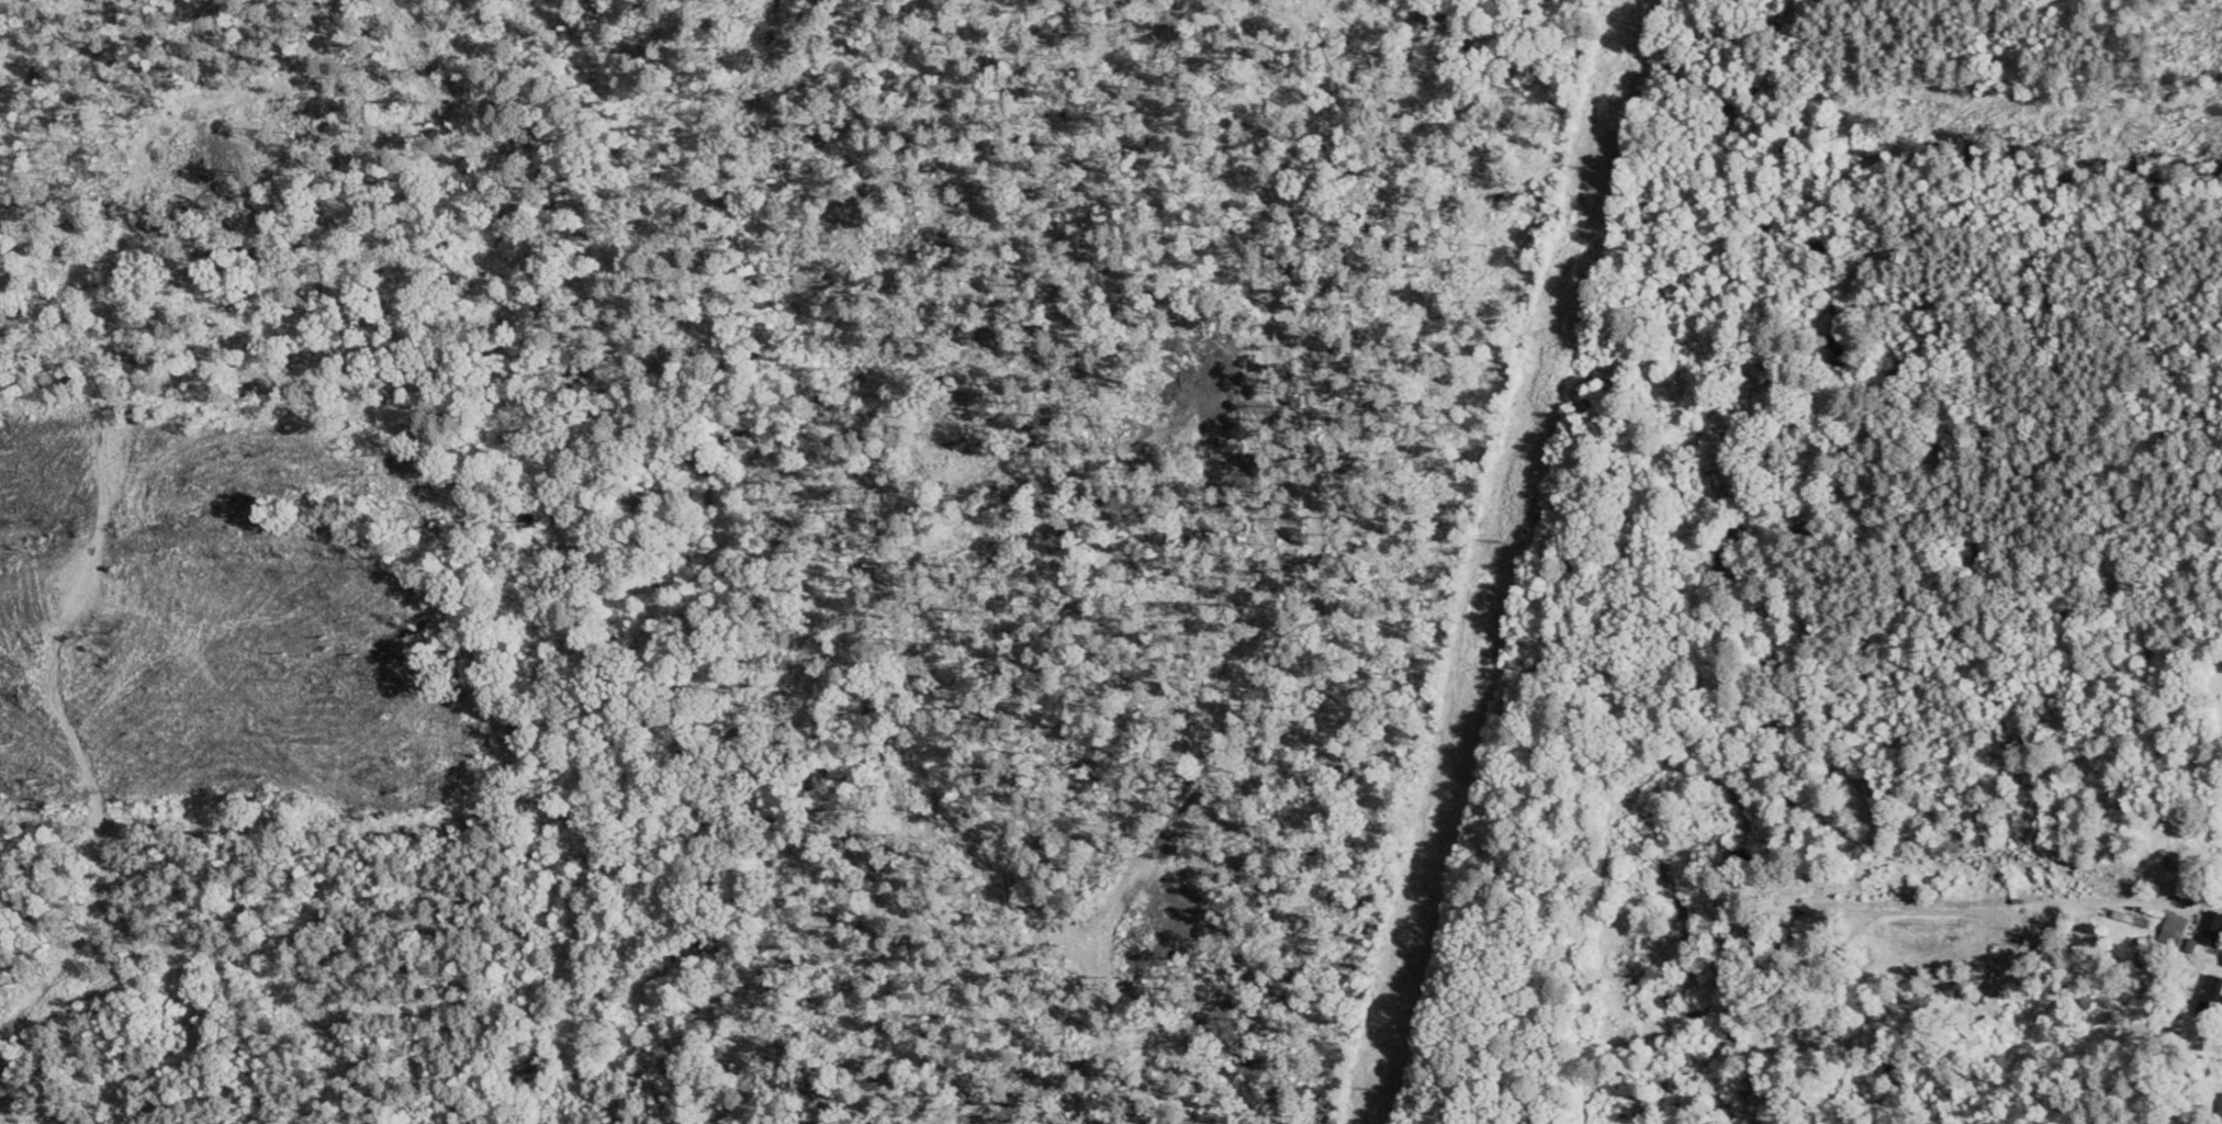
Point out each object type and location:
building: (2176, 922)
building: (2213, 928)
road: (1904, 986)
building: (2212, 993)
building: (2220, 1108)

